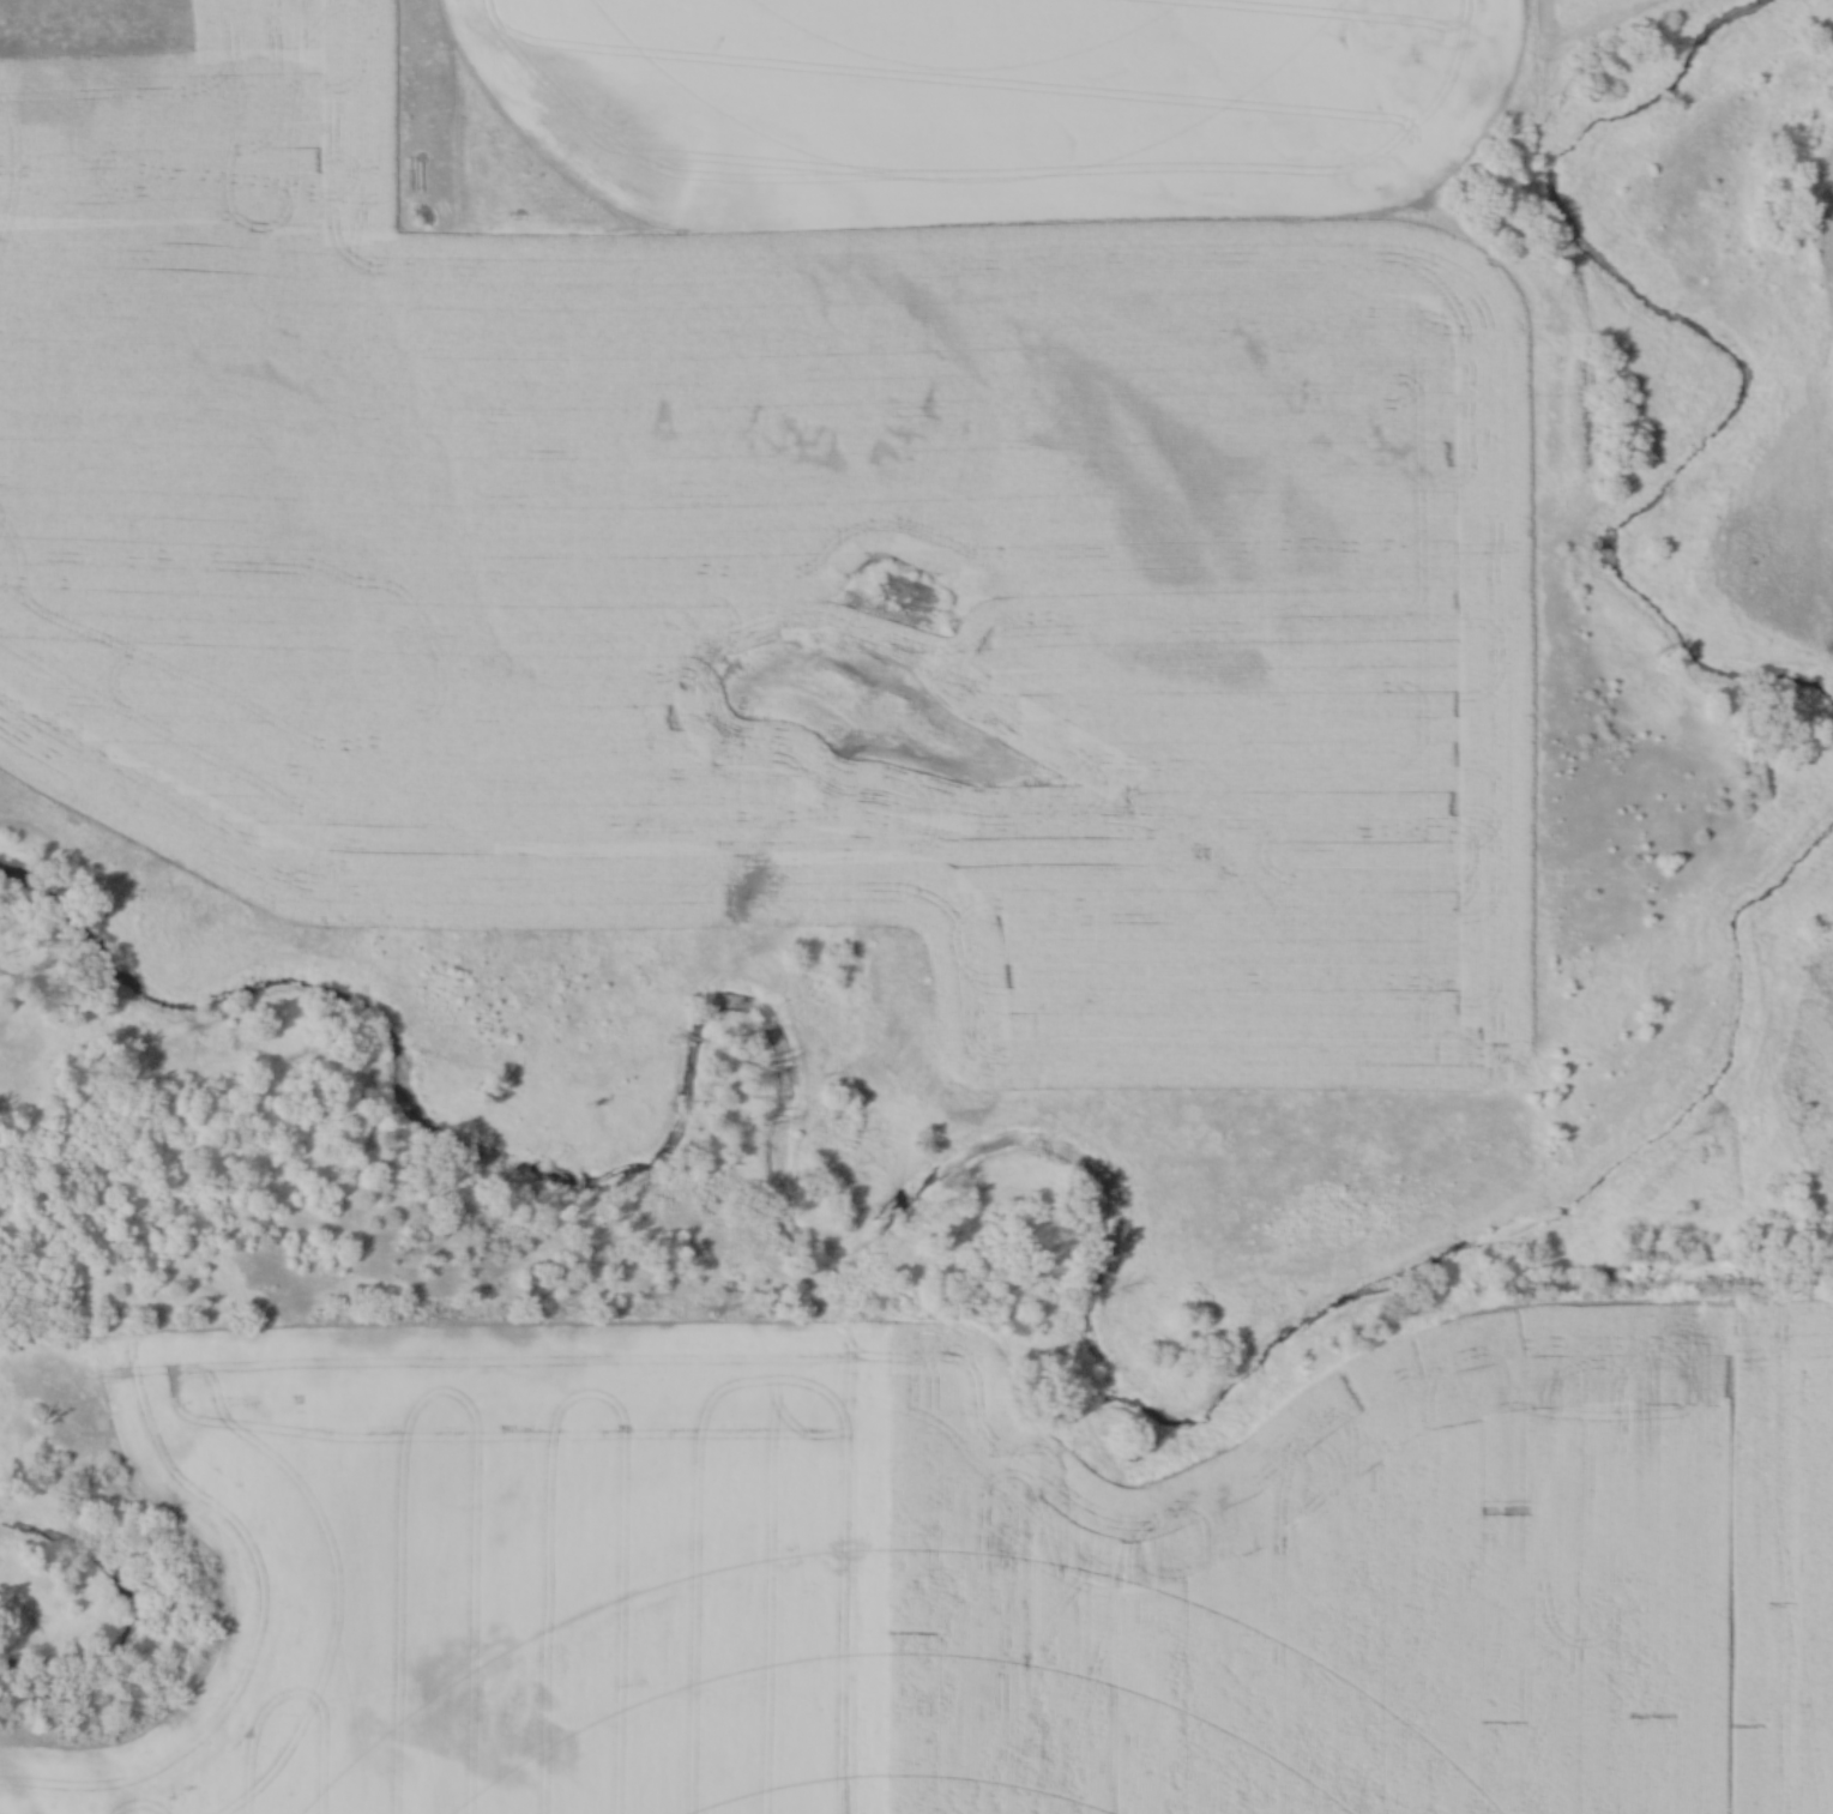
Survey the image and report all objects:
river: (1731, 351)
river: (916, 1191)
river: (168, 1622)

